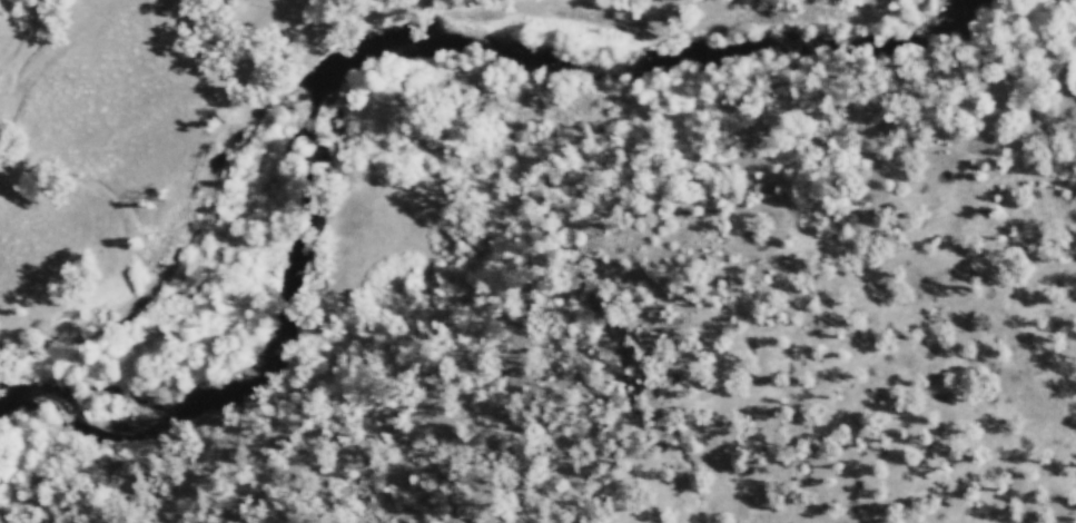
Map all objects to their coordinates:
river: (595, 72)
river: (214, 384)

